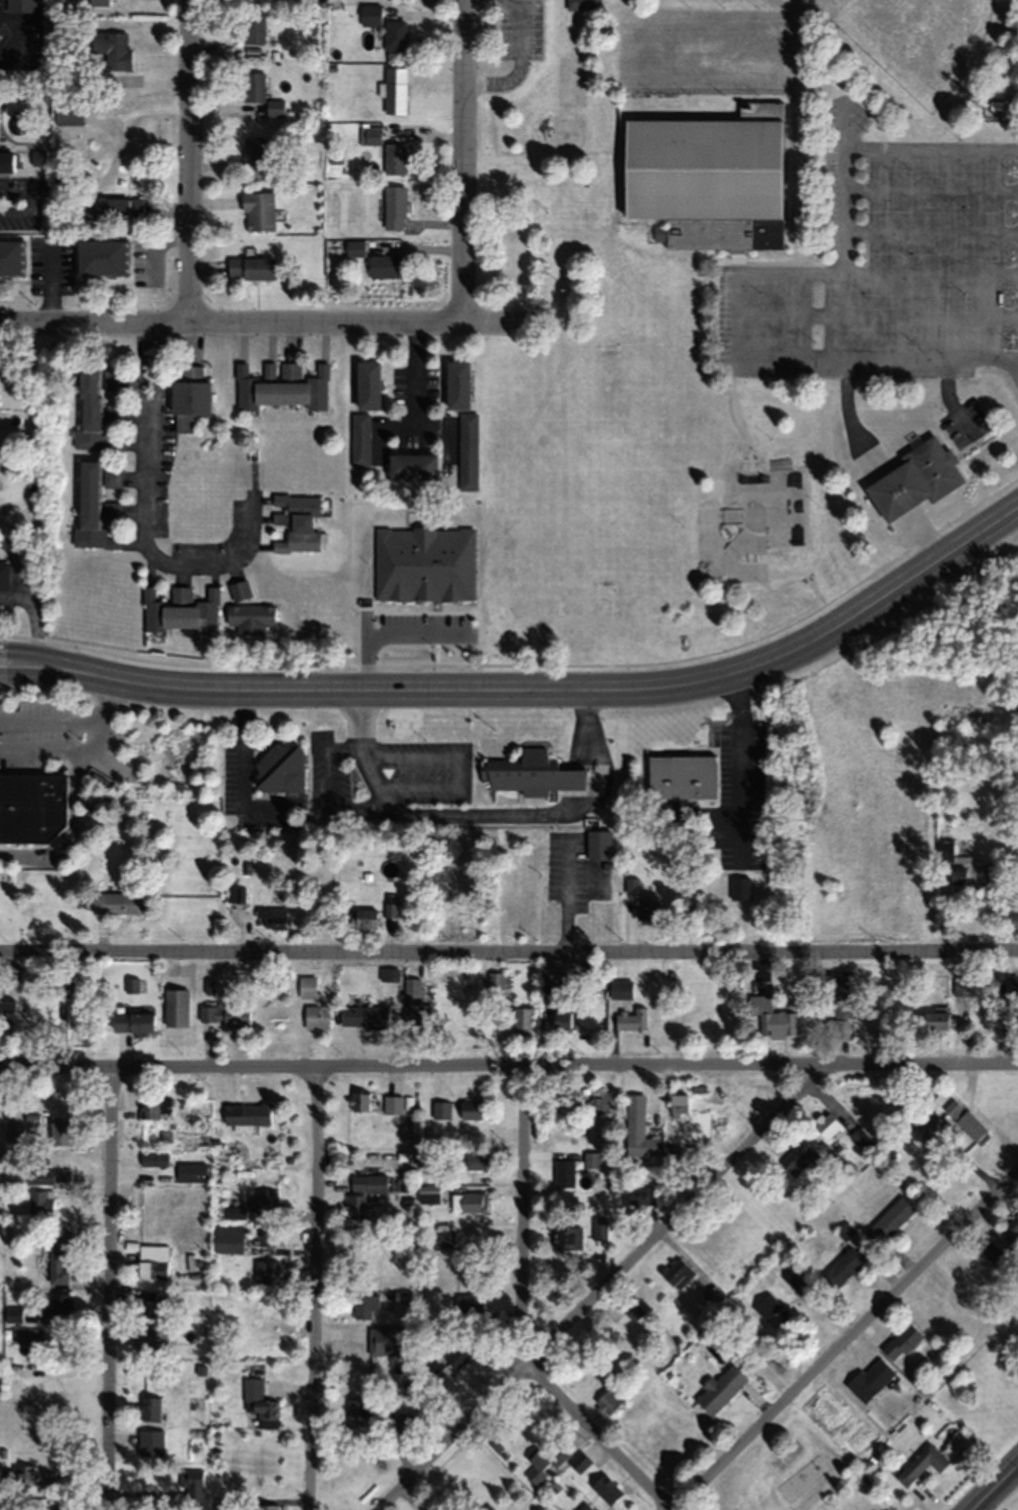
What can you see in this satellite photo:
building: (98, 2)
building: (583, 4)
building: (19, 5)
building: (371, 14)
building: (253, 26)
parking lot: (519, 30)
building: (395, 34)
park: (915, 38)
building: (112, 49)
road: (519, 61)
building: (253, 86)
building: (395, 90)
building: (275, 107)
building: (68, 116)
building: (369, 136)
building: (253, 149)
building: (394, 158)
road: (463, 159)
building: (6, 161)
road: (189, 161)
road: (808, 164)
building: (708, 177)
building: (112, 207)
building: (394, 207)
building: (258, 211)
building: (355, 250)
building: (9, 257)
building: (100, 257)
building: (384, 266)
building: (250, 268)
road: (757, 274)
park: (718, 296)
road: (263, 320)
building: (111, 380)
building: (367, 385)
building: (458, 385)
building: (281, 387)
building: (189, 399)
building: (89, 407)
road: (851, 423)
building: (360, 440)
building: (109, 447)
building: (467, 452)
building: (412, 466)
building: (907, 476)
building: (111, 478)
road: (893, 495)
building: (90, 509)
building: (111, 511)
building: (297, 522)
park: (752, 522)
road: (144, 524)
road: (923, 537)
building: (4, 575)
building: (239, 589)
building: (180, 611)
building: (250, 618)
road: (531, 694)
road: (69, 722)
road: (57, 751)
building: (281, 769)
building: (531, 773)
building: (681, 776)
building: (31, 806)
road: (72, 834)
building: (599, 844)
building: (958, 864)
building: (235, 893)
building: (118, 903)
building: (648, 908)
building: (390, 909)
building: (364, 917)
building: (270, 918)
road: (509, 951)
building: (389, 974)
building: (496, 979)
building: (551, 982)
building: (132, 984)
building: (962, 985)
building: (1012, 986)
building: (621, 988)
building: (843, 995)
building: (415, 1005)
building: (176, 1006)
building: (7, 1011)
building: (226, 1012)
building: (316, 1016)
building: (364, 1016)
building: (772, 1016)
building: (632, 1018)
building: (562, 1019)
building: (936, 1019)
building: (523, 1020)
building: (133, 1021)
building: (836, 1027)
road: (508, 1063)
building: (359, 1101)
building: (599, 1101)
building: (679, 1103)
building: (393, 1104)
building: (155, 1106)
building: (471, 1109)
building: (441, 1110)
building: (247, 1114)
building: (963, 1118)
building: (827, 1126)
building: (930, 1127)
building: (638, 1128)
building: (60, 1130)
building: (14, 1132)
building: (404, 1139)
building: (670, 1154)
building: (403, 1156)
building: (798, 1157)
building: (152, 1159)
building: (591, 1159)
building: (474, 1160)
building: (191, 1172)
building: (564, 1172)
building: (48, 1175)
building: (376, 1183)
building: (429, 1194)
building: (642, 1196)
building: (264, 1201)
building: (40, 1202)
building: (474, 1202)
building: (356, 1205)
building: (889, 1220)
building: (1013, 1223)
building: (599, 1228)
building: (267, 1235)
building: (568, 1237)
building: (228, 1238)
building: (444, 1238)
building: (480, 1246)
building: (992, 1252)
building: (58, 1255)
building: (153, 1260)
building: (840, 1269)
building: (267, 1271)
building: (677, 1272)
road: (605, 1286)
road: (107, 1287)
road: (311, 1287)
building: (714, 1295)
building: (402, 1296)
building: (57, 1302)
building: (468, 1302)
building: (149, 1304)
building: (365, 1305)
building: (767, 1306)
building: (14, 1313)
road: (519, 1313)
building: (27, 1335)
road: (849, 1336)
building: (152, 1338)
building: (389, 1340)
building: (901, 1341)
building: (16, 1368)
building: (436, 1379)
building: (870, 1379)
building: (719, 1388)
building: (610, 1398)
building: (258, 1405)
building: (358, 1408)
building: (148, 1409)
building: (193, 1417)
building: (399, 1419)
building: (545, 1460)
building: (579, 1461)
building: (920, 1467)
building: (802, 1477)
building: (21, 1481)
building: (193, 1484)
building: (607, 1489)
road: (997, 1489)
building: (228, 1503)
building: (60, 1506)
building: (266, 1506)
building: (490, 1506)
building: (584, 1507)
park: (1015, 1507)
road: (981, 1508)

